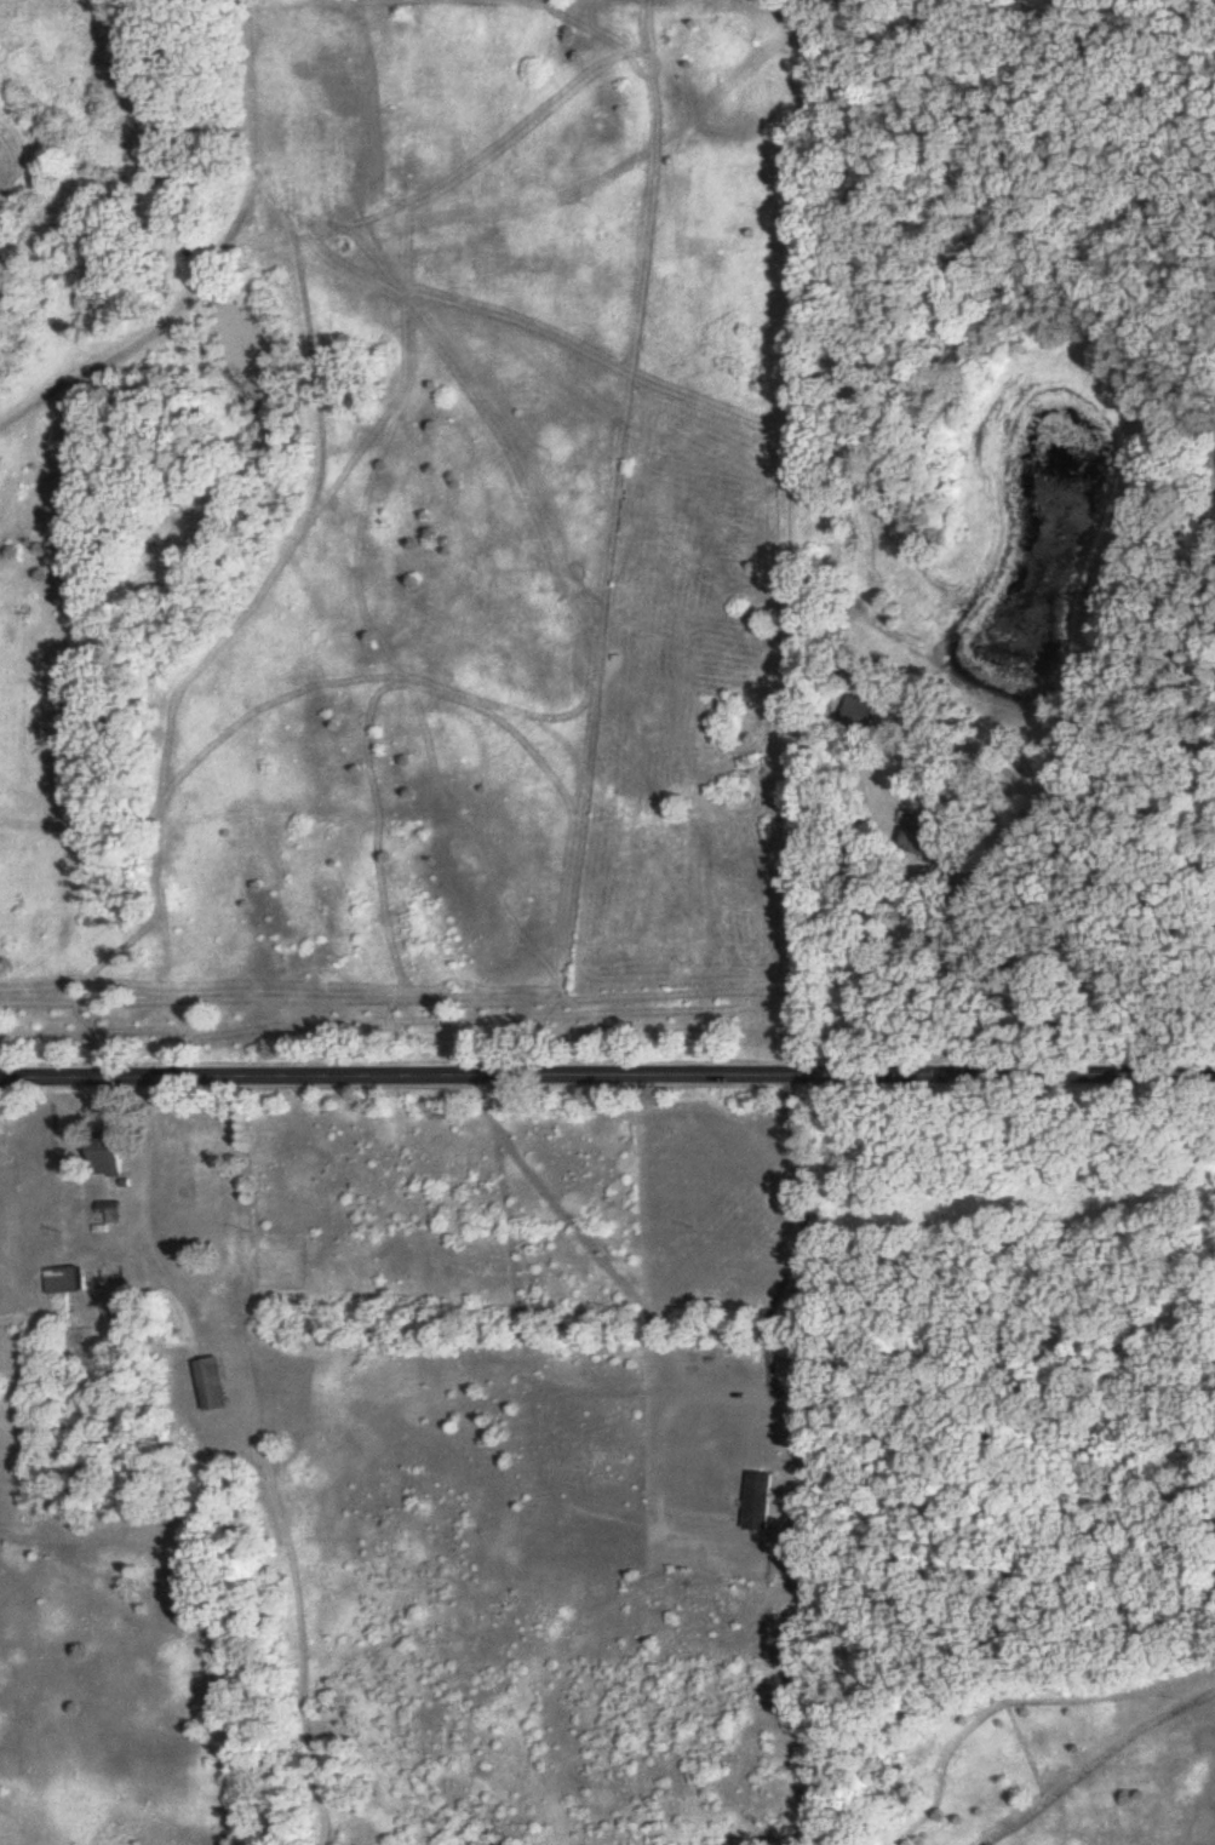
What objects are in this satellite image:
building: (865, 714)
road: (1089, 744)
building: (932, 836)
road: (607, 1082)
building: (111, 1157)
building: (113, 1207)
building: (69, 1282)
building: (216, 1386)
building: (761, 1502)

